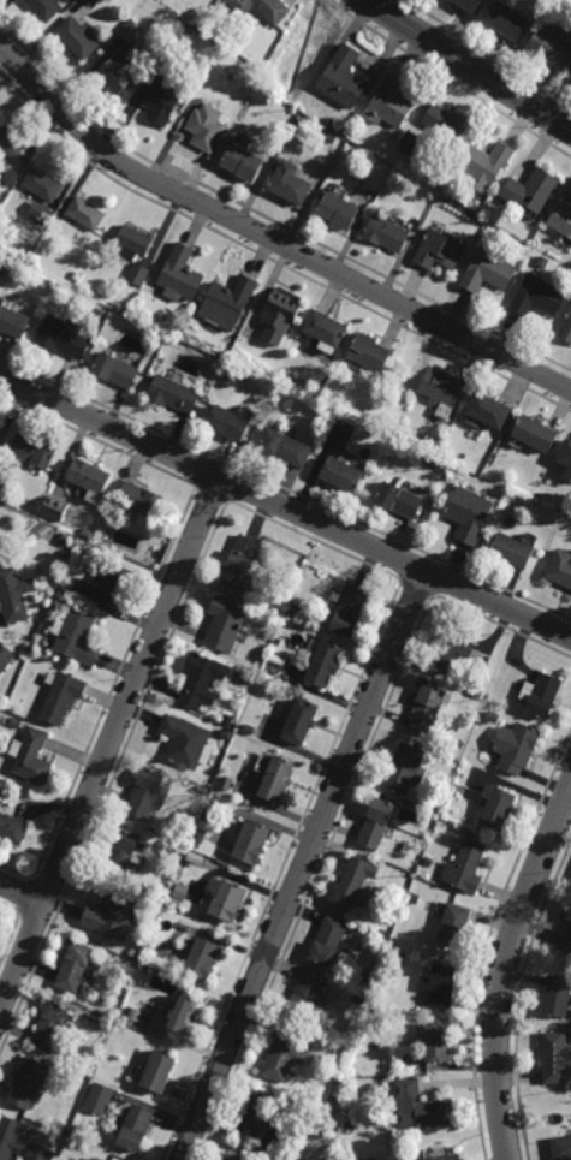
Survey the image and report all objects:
building: (90, 1)
building: (470, 4)
building: (46, 8)
building: (261, 10)
building: (508, 18)
building: (190, 30)
building: (131, 31)
building: (76, 37)
building: (552, 44)
road: (469, 65)
building: (117, 73)
building: (343, 78)
building: (162, 100)
building: (389, 103)
building: (210, 105)
building: (329, 123)
building: (445, 123)
building: (204, 130)
building: (329, 137)
building: (409, 143)
building: (11, 145)
building: (243, 161)
building: (486, 162)
building: (290, 183)
building: (7, 188)
building: (531, 190)
building: (42, 192)
building: (478, 208)
building: (338, 210)
building: (85, 213)
building: (561, 219)
building: (417, 224)
building: (387, 233)
road: (270, 240)
building: (133, 244)
building: (439, 251)
building: (542, 262)
building: (488, 272)
building: (182, 274)
building: (139, 275)
building: (76, 276)
building: (537, 297)
building: (230, 301)
building: (281, 314)
building: (13, 323)
building: (327, 328)
building: (566, 329)
building: (61, 339)
building: (370, 352)
building: (117, 371)
building: (227, 382)
building: (442, 387)
building: (174, 394)
building: (490, 410)
building: (230, 423)
building: (0, 424)
building: (539, 434)
building: (285, 448)
building: (34, 451)
building: (566, 456)
building: (343, 475)
building: (569, 476)
building: (90, 480)
building: (1, 484)
building: (141, 500)
building: (399, 501)
building: (115, 507)
road: (285, 507)
building: (55, 510)
building: (469, 516)
building: (87, 534)
building: (63, 539)
building: (515, 552)
building: (242, 563)
building: (560, 569)
building: (113, 587)
building: (65, 590)
building: (14, 595)
building: (350, 612)
building: (292, 613)
building: (226, 625)
building: (289, 625)
building: (76, 638)
building: (26, 648)
building: (452, 654)
building: (5, 658)
building: (276, 661)
building: (325, 666)
building: (203, 680)
building: (63, 697)
building: (542, 697)
building: (427, 712)
building: (494, 719)
building: (228, 721)
building: (299, 722)
building: (17, 724)
building: (249, 731)
road: (109, 742)
building: (463, 742)
building: (186, 744)
building: (517, 749)
building: (31, 757)
building: (404, 772)
building: (278, 781)
building: (203, 791)
building: (149, 795)
building: (423, 802)
building: (498, 807)
building: (377, 821)
building: (11, 826)
building: (252, 840)
building: (123, 850)
building: (179, 851)
building: (191, 852)
building: (428, 859)
road: (301, 864)
building: (468, 864)
building: (355, 879)
building: (182, 891)
road: (20, 893)
building: (416, 896)
building: (230, 899)
building: (174, 900)
building: (112, 916)
building: (457, 922)
building: (566, 938)
building: (331, 939)
building: (202, 956)
building: (77, 965)
road: (504, 970)
building: (368, 974)
building: (441, 983)
building: (307, 994)
building: (559, 995)
building: (358, 999)
building: (129, 1001)
building: (371, 1006)
building: (183, 1012)
building: (130, 1013)
building: (375, 1019)
building: (50, 1024)
building: (439, 1040)
building: (285, 1054)
building: (557, 1055)
building: (89, 1071)
building: (160, 1071)
building: (26, 1082)
building: (100, 1097)
building: (421, 1106)
building: (257, 1116)
building: (67, 1128)
building: (136, 1128)
building: (77, 1129)
building: (19, 1142)
building: (75, 1146)
building: (561, 1147)
building: (231, 1158)
building: (447, 1158)
building: (93, 1159)
building: (95, 1159)
building: (373, 1159)

